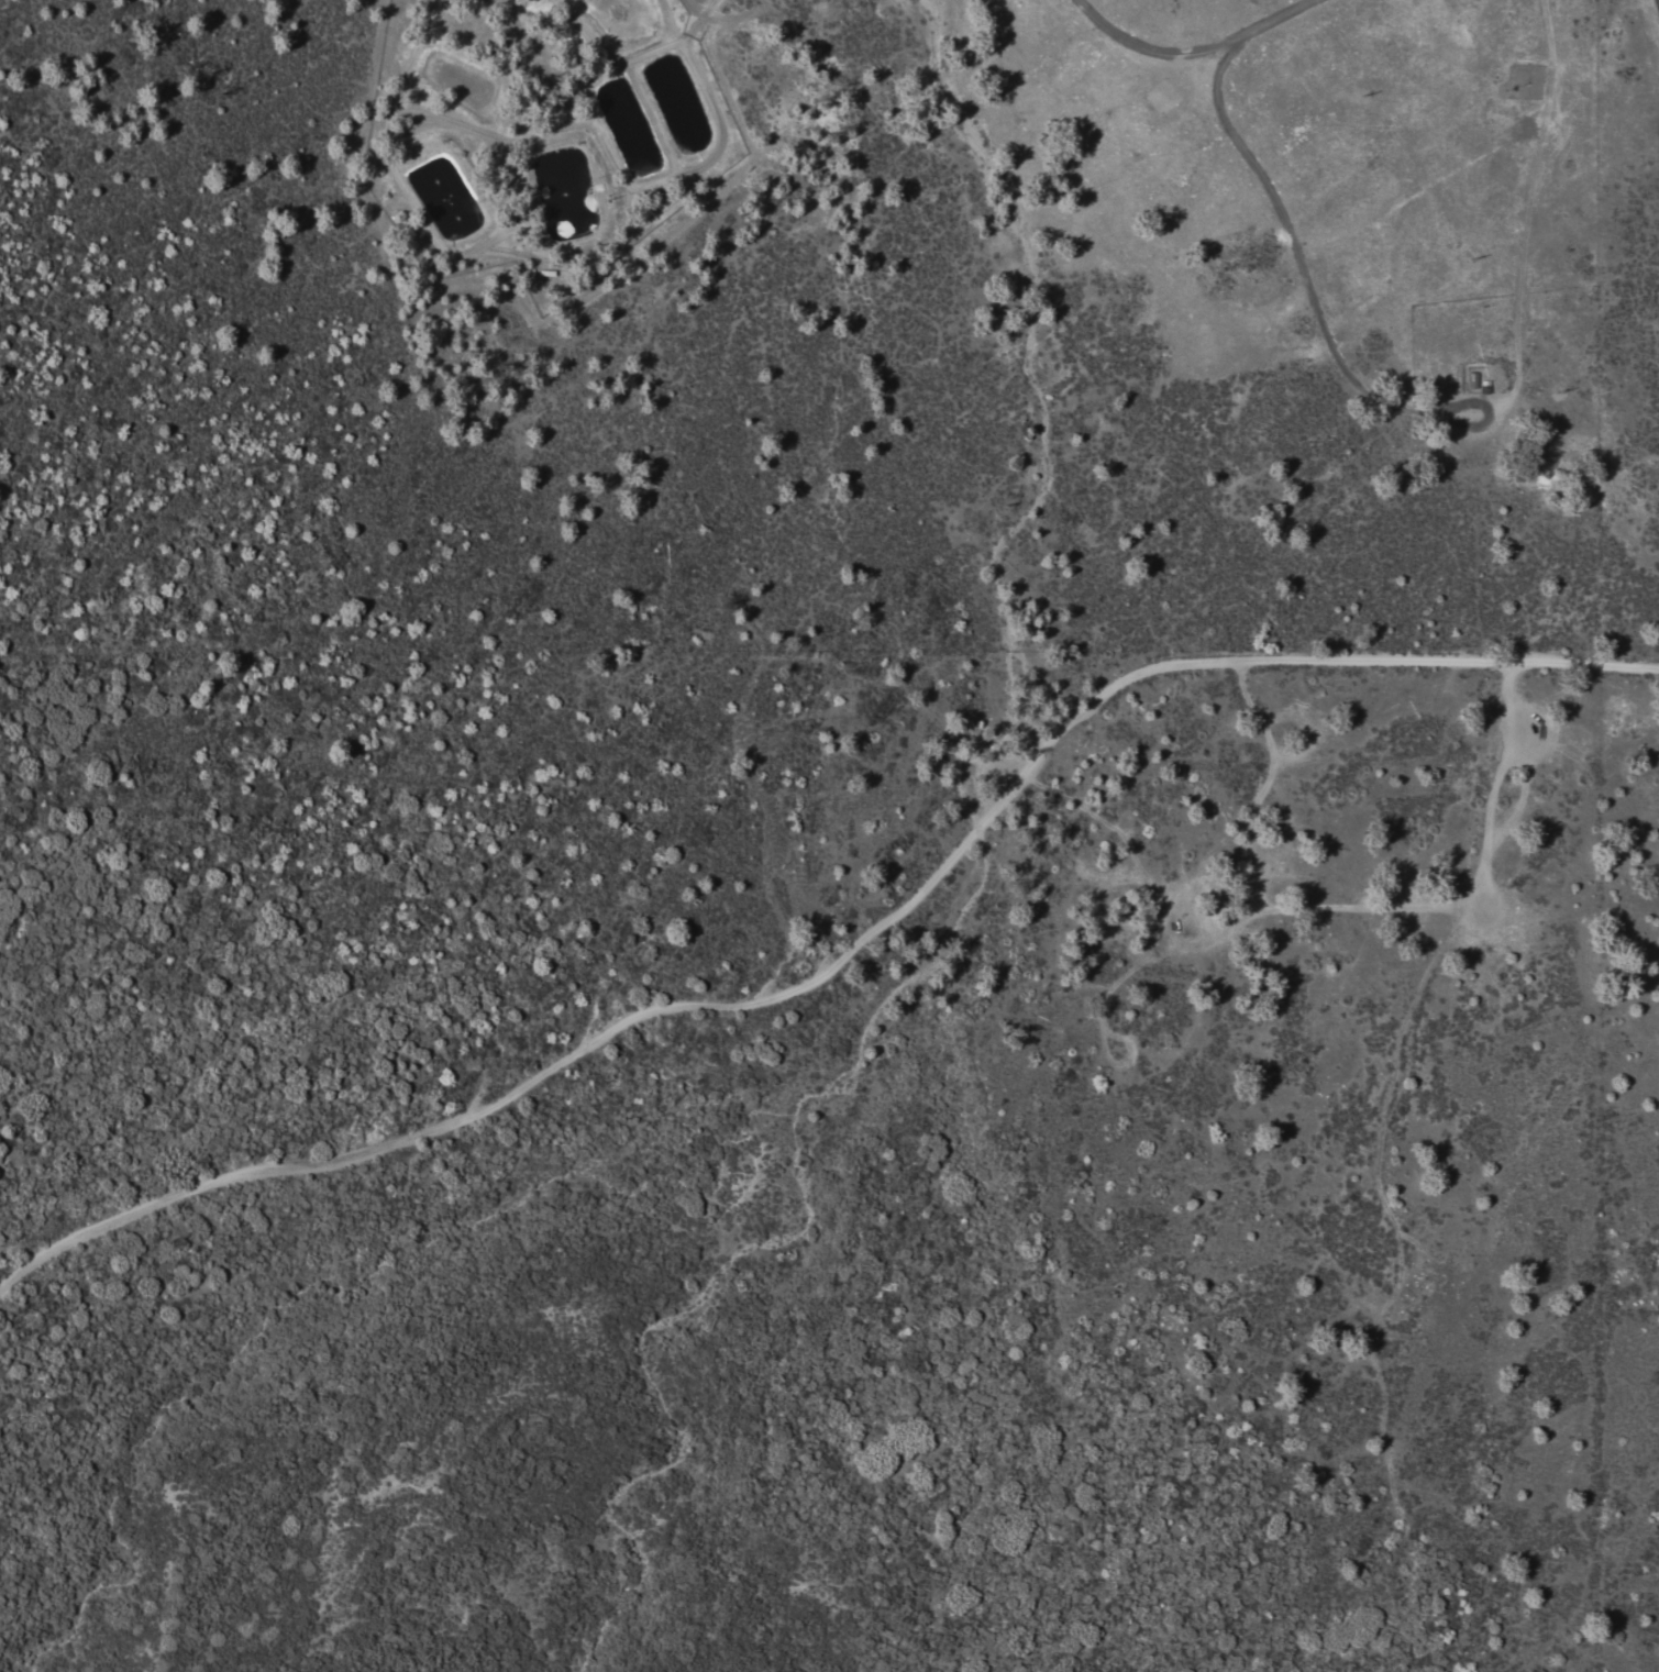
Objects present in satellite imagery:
road: (1190, 59)
wastewater plant: (551, 146)
road: (1267, 784)
road: (1338, 908)
road: (848, 953)
road: (1384, 1216)

